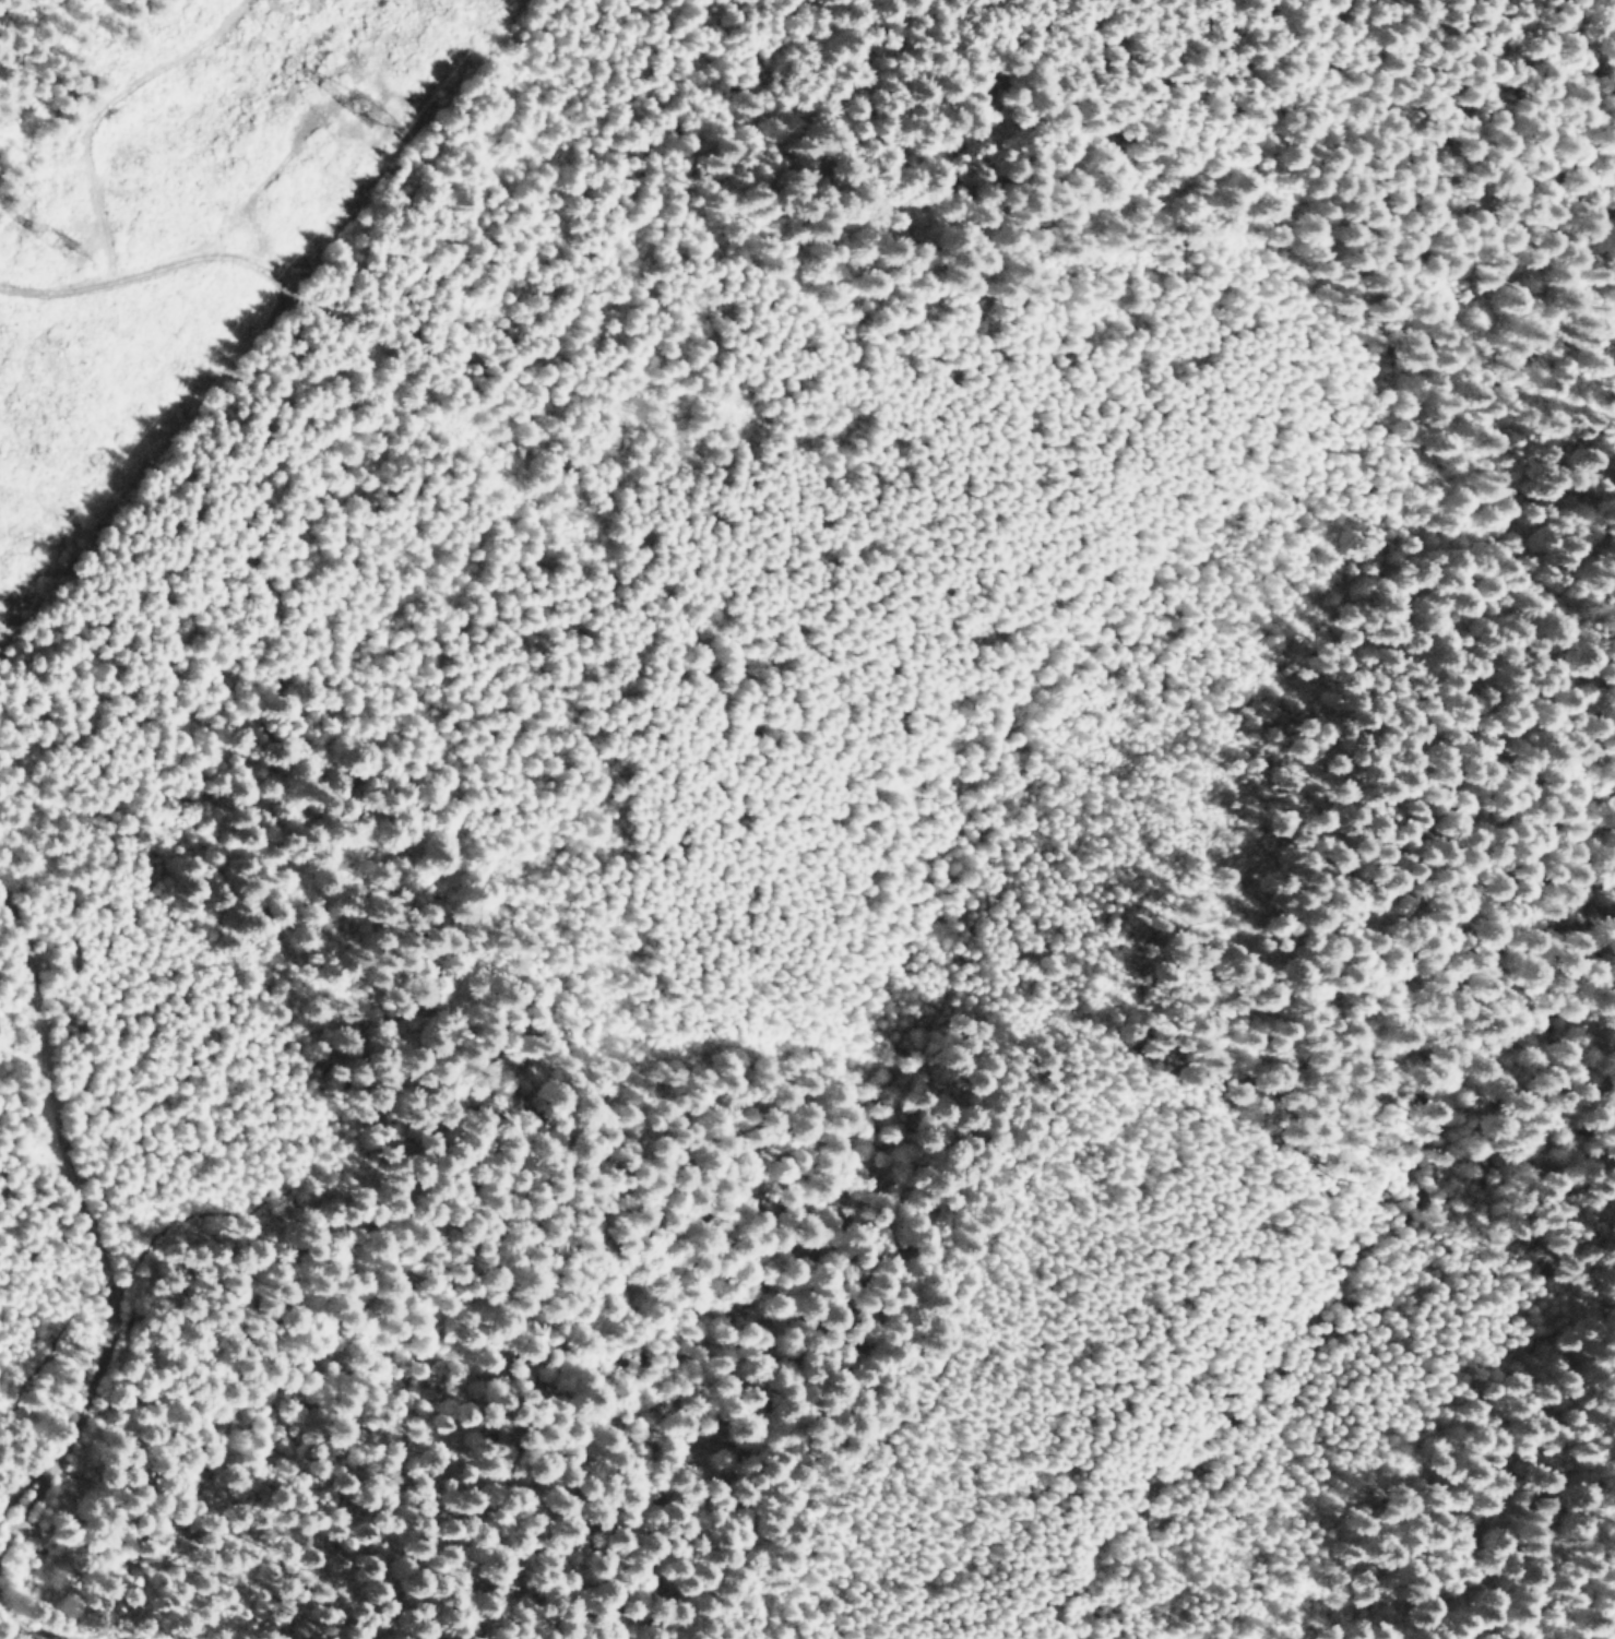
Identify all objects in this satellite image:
power tower: (358, 123)
power tower: (61, 253)

